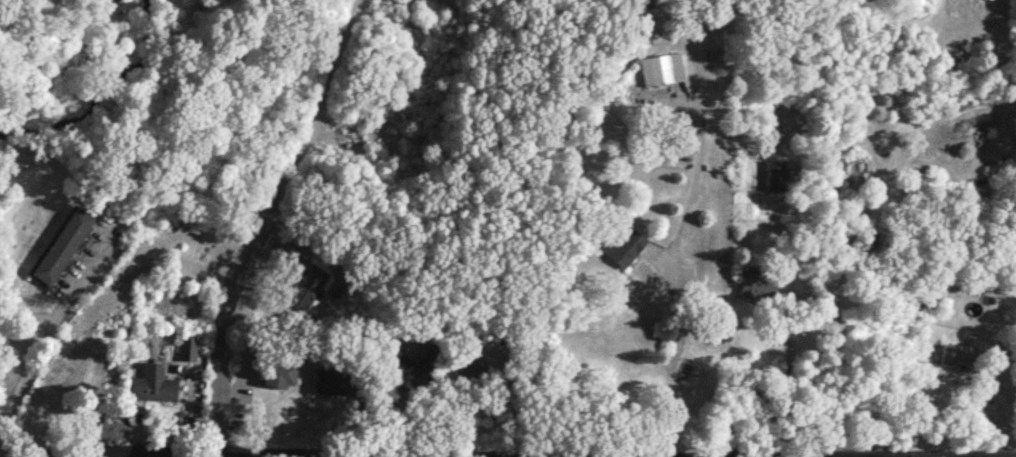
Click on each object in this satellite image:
road: (352, 8)
building: (660, 68)
building: (774, 175)
road: (255, 229)
building: (60, 244)
building: (620, 246)
road: (315, 249)
road: (670, 280)
building: (307, 285)
building: (758, 285)
building: (956, 353)
road: (36, 358)
building: (470, 369)
building: (59, 372)
building: (409, 372)
building: (280, 373)
building: (332, 380)
building: (153, 383)
road: (995, 406)
road: (103, 454)
road: (755, 456)

